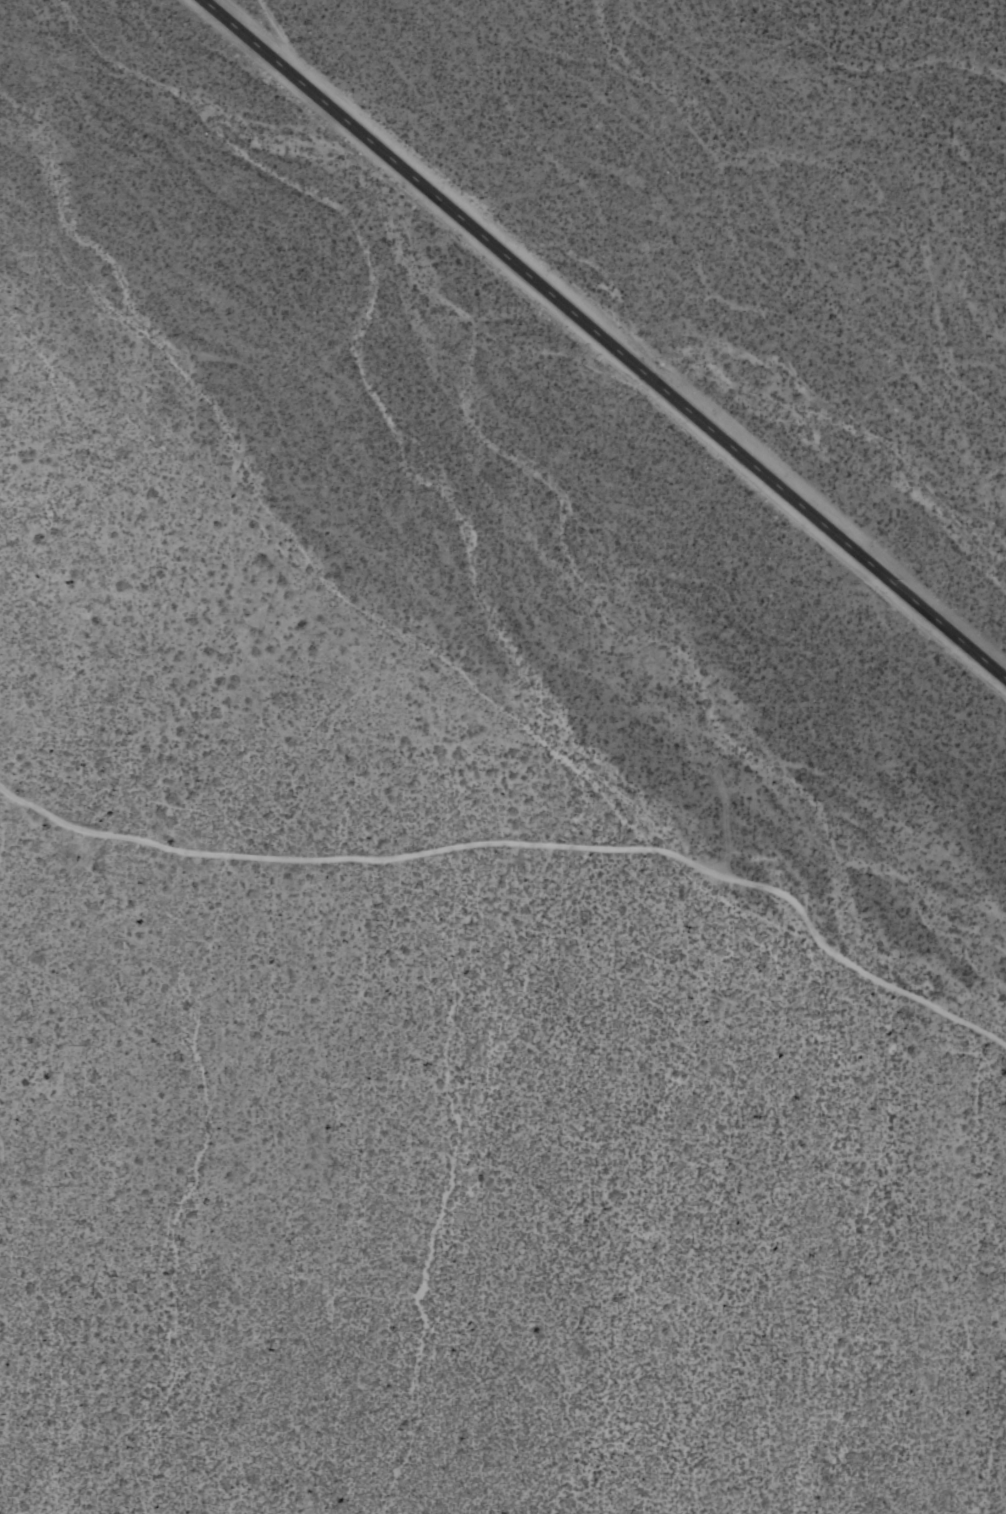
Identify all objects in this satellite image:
road: (601, 341)
road: (526, 847)

